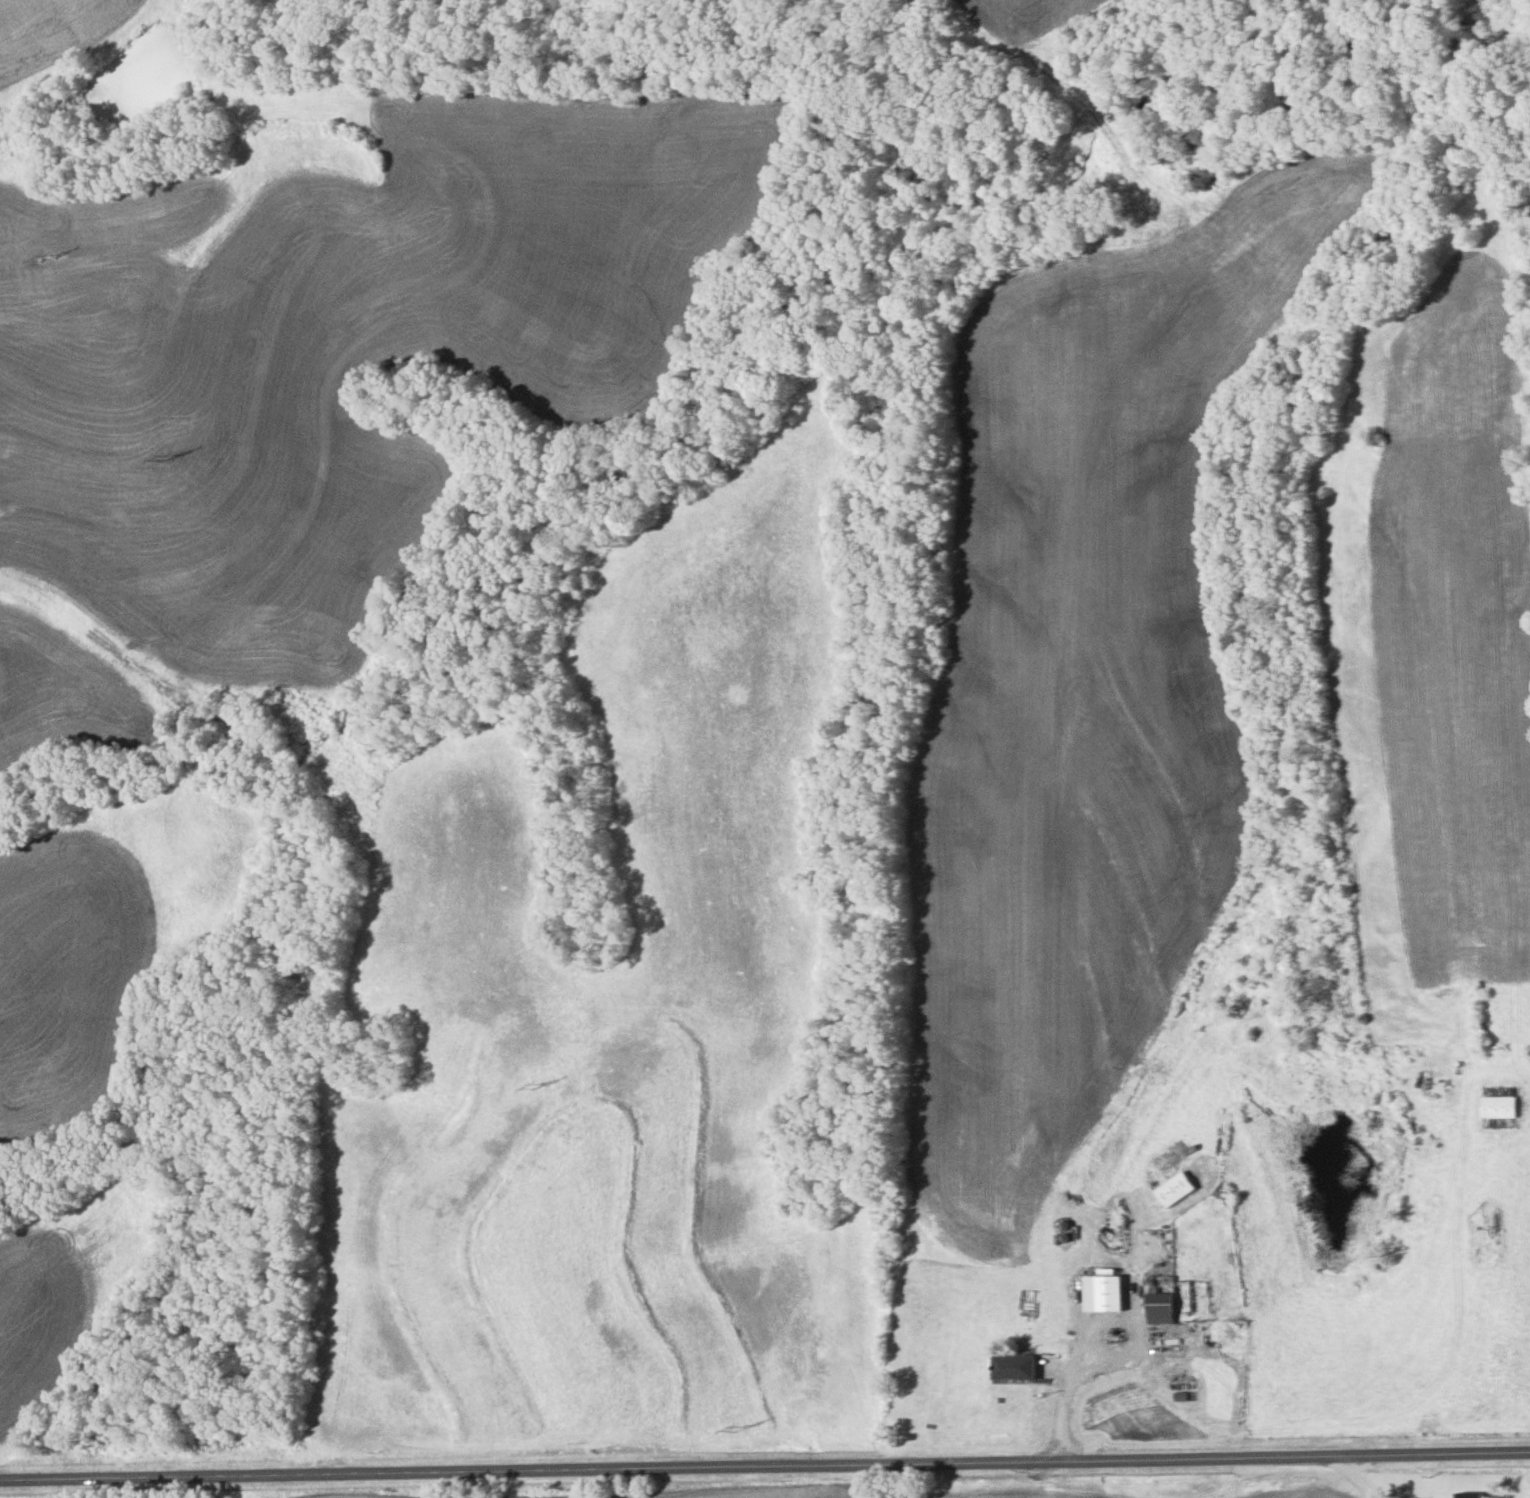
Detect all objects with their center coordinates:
power tower: (50, 254)
power tower: (167, 458)
power tower: (535, 1087)
building: (1499, 1108)
building: (1177, 1190)
building: (1227, 1196)
building: (1104, 1295)
building: (1160, 1301)
building: (1013, 1368)
road: (1064, 1380)
power tower: (738, 1431)
road: (764, 1464)
road: (1356, 1477)
building: (1470, 1495)

